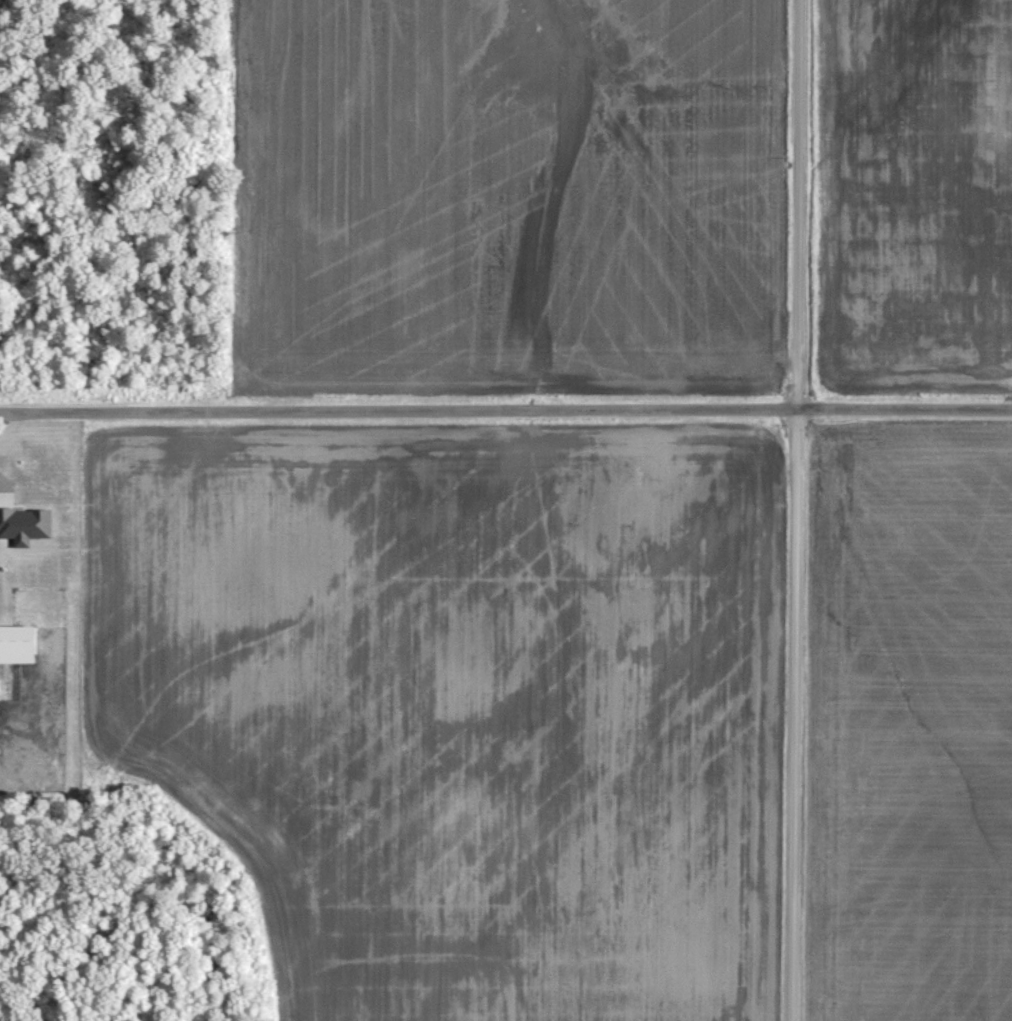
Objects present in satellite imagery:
road: (505, 393)
road: (773, 510)
building: (24, 522)
building: (17, 641)

